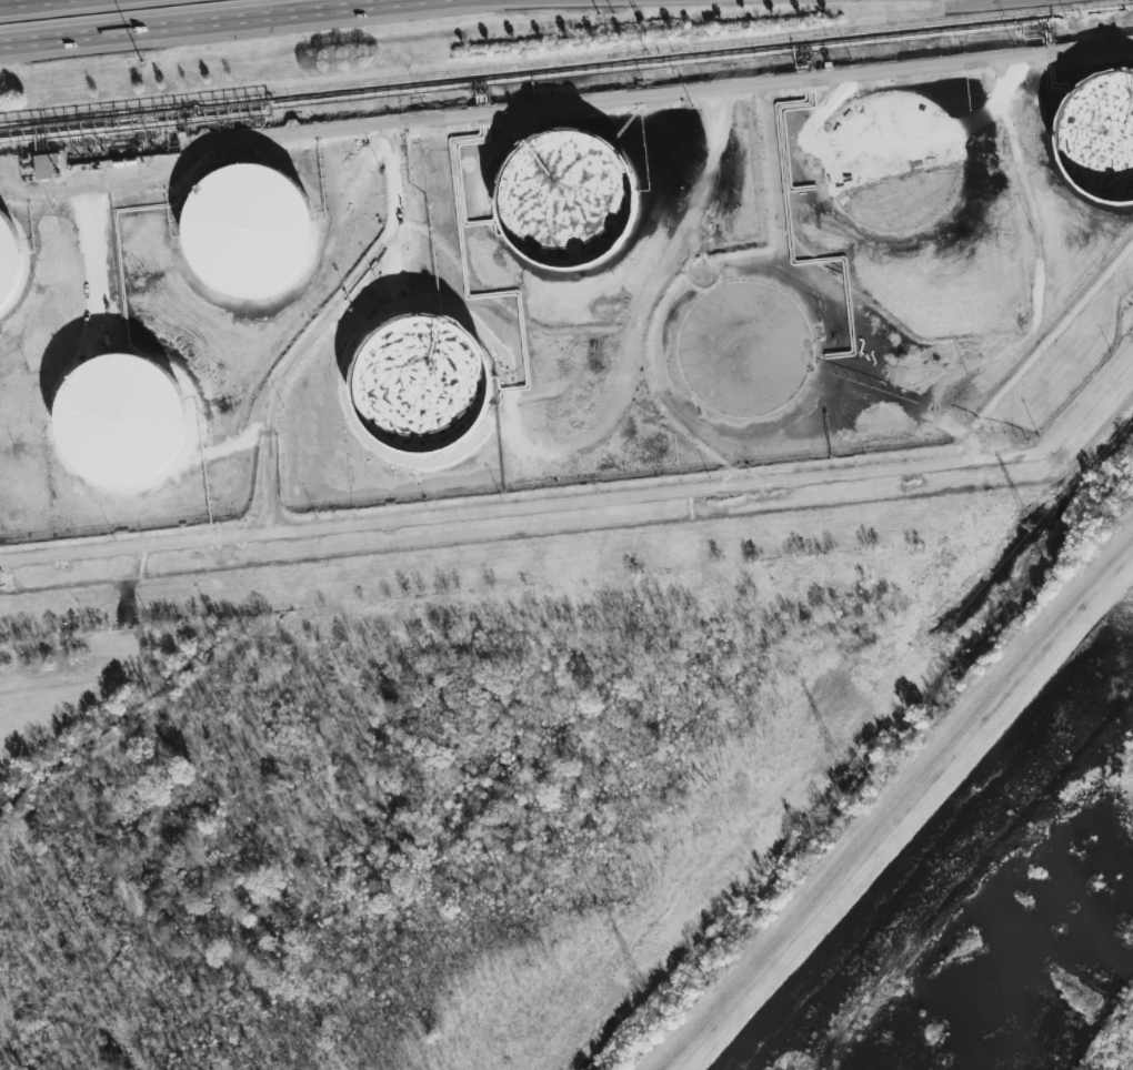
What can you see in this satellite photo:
road: (472, 1)
road: (586, 1)
road: (34, 3)
road: (231, 27)
road: (564, 110)
building: (1097, 139)
building: (44, 164)
building: (557, 198)
building: (240, 230)
road: (94, 254)
building: (3, 260)
road: (679, 280)
road: (1044, 301)
road: (330, 326)
building: (412, 383)
building: (114, 424)
road: (191, 498)
road: (589, 498)
road: (158, 521)
power tower: (1026, 525)
road: (37, 680)
power tower: (829, 757)
power tower: (634, 978)

